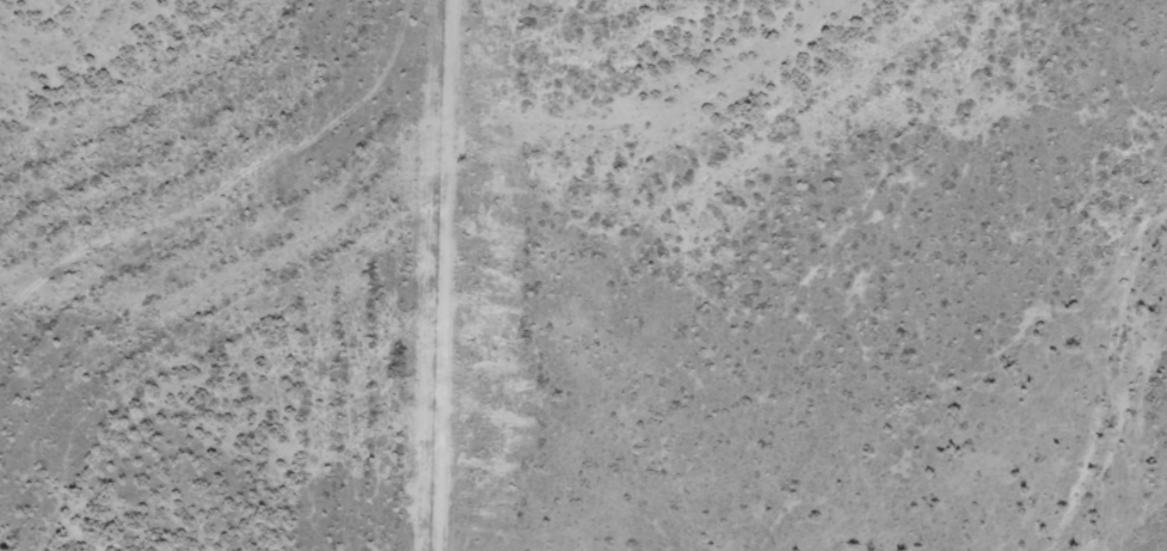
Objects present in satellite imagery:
road: (271, 262)

